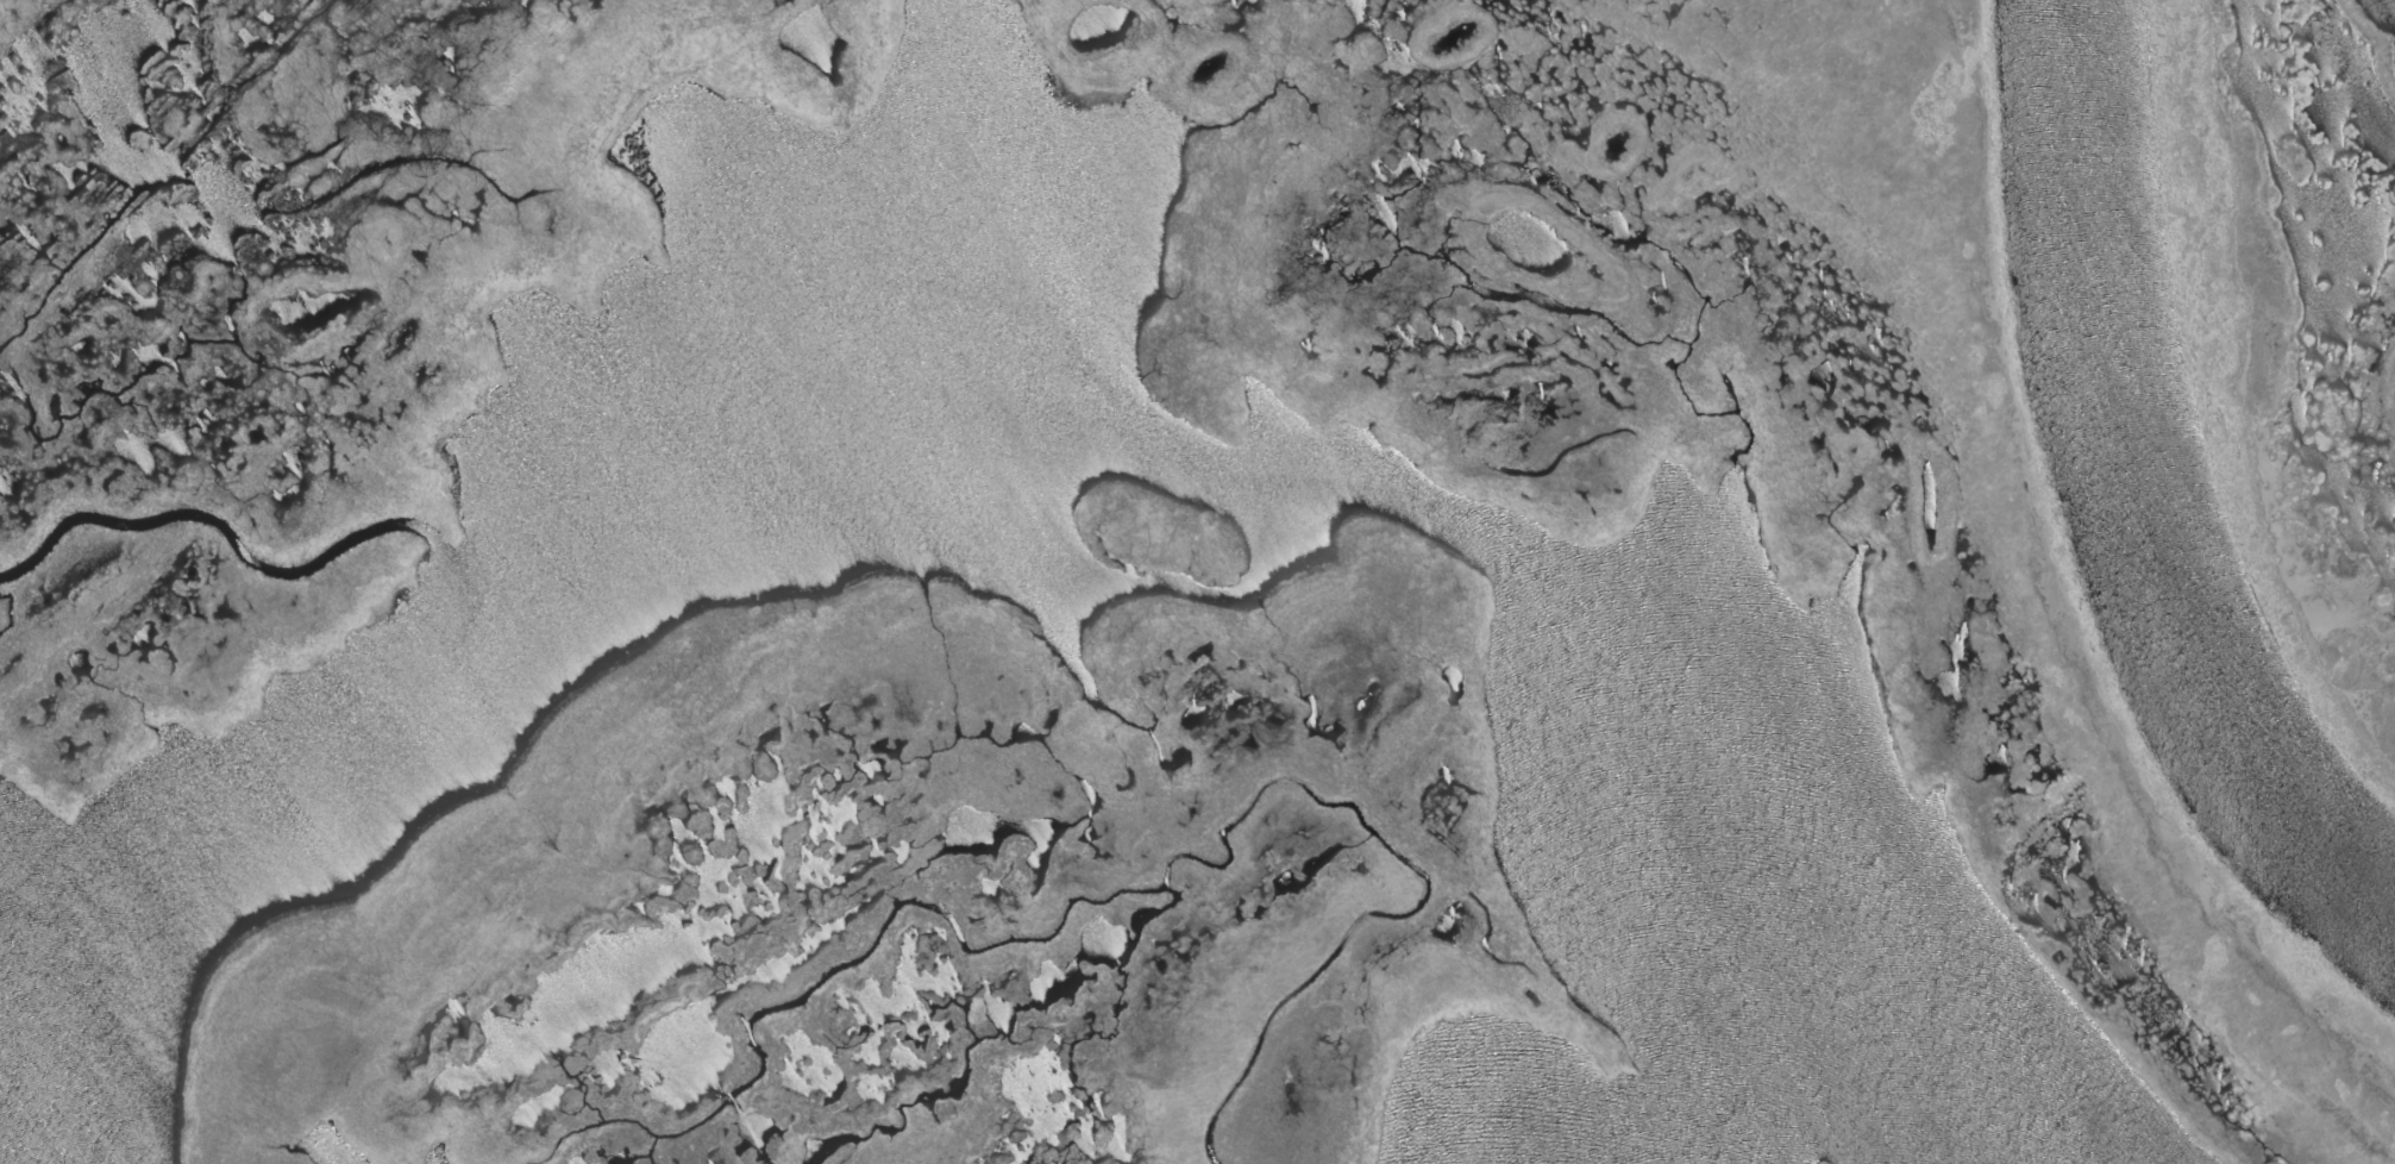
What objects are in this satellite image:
river: (2149, 514)

